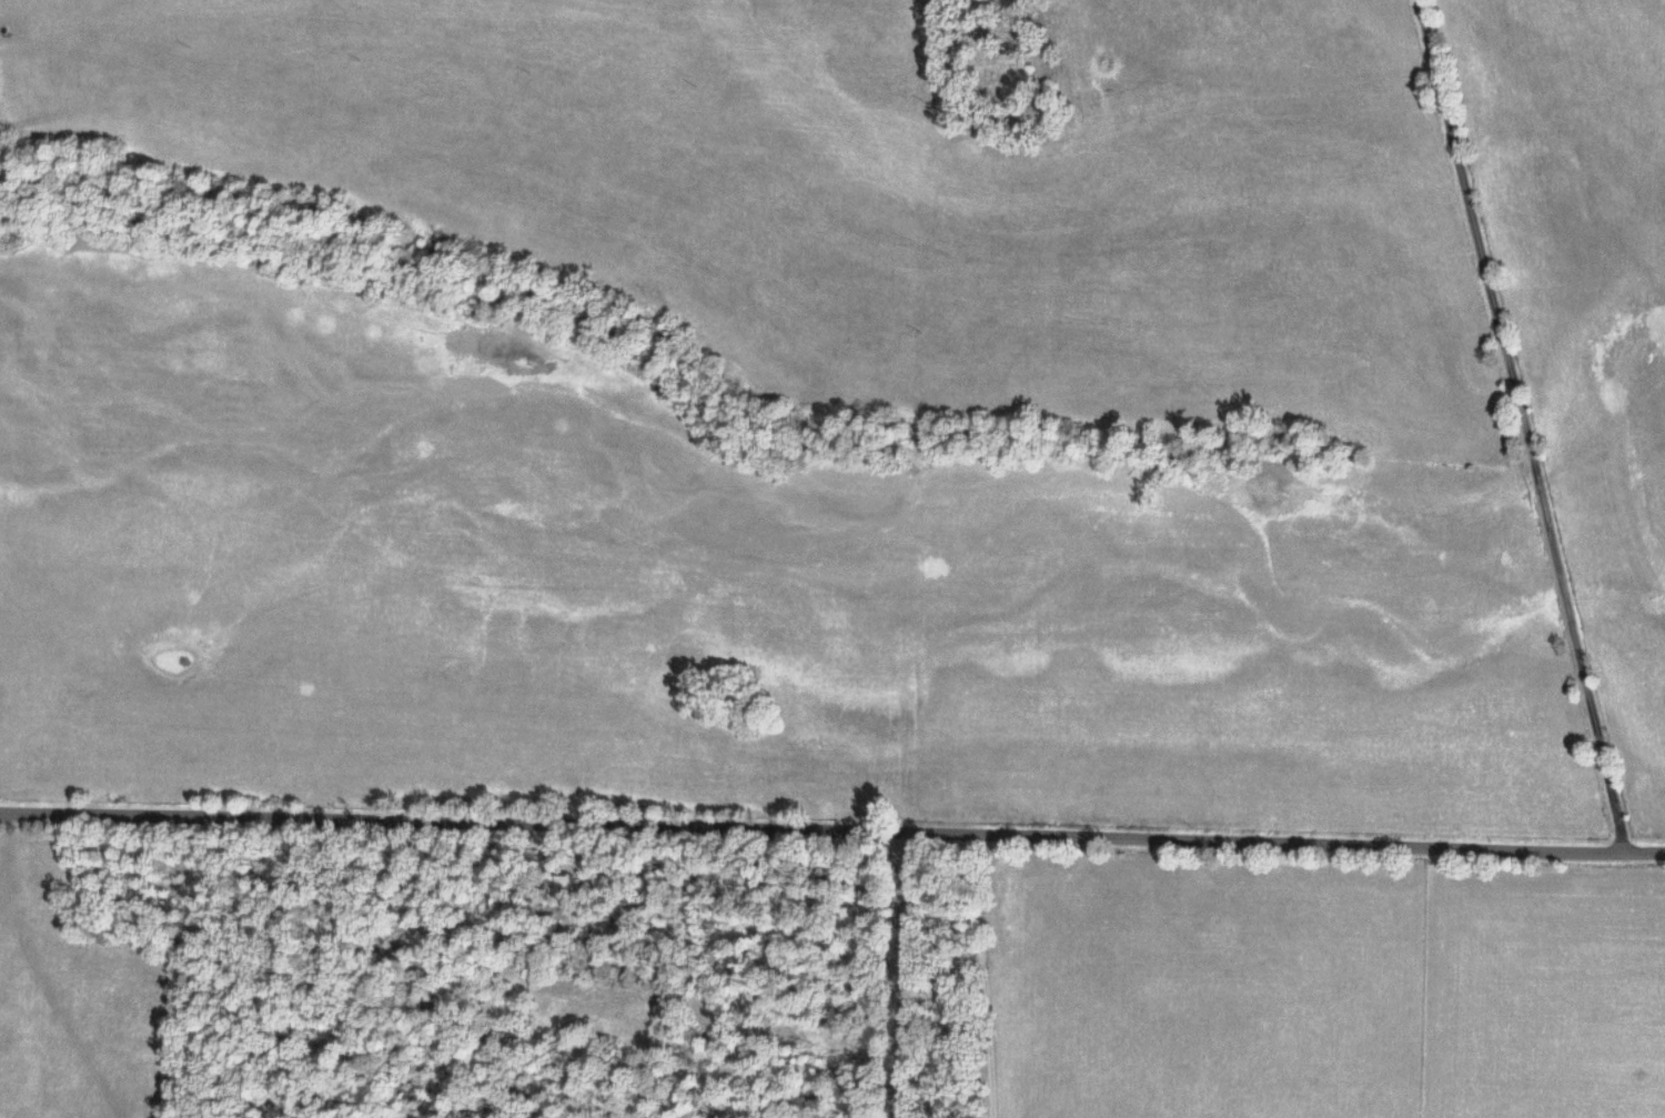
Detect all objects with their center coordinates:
road: (1524, 423)
road: (831, 829)
road: (973, 974)

